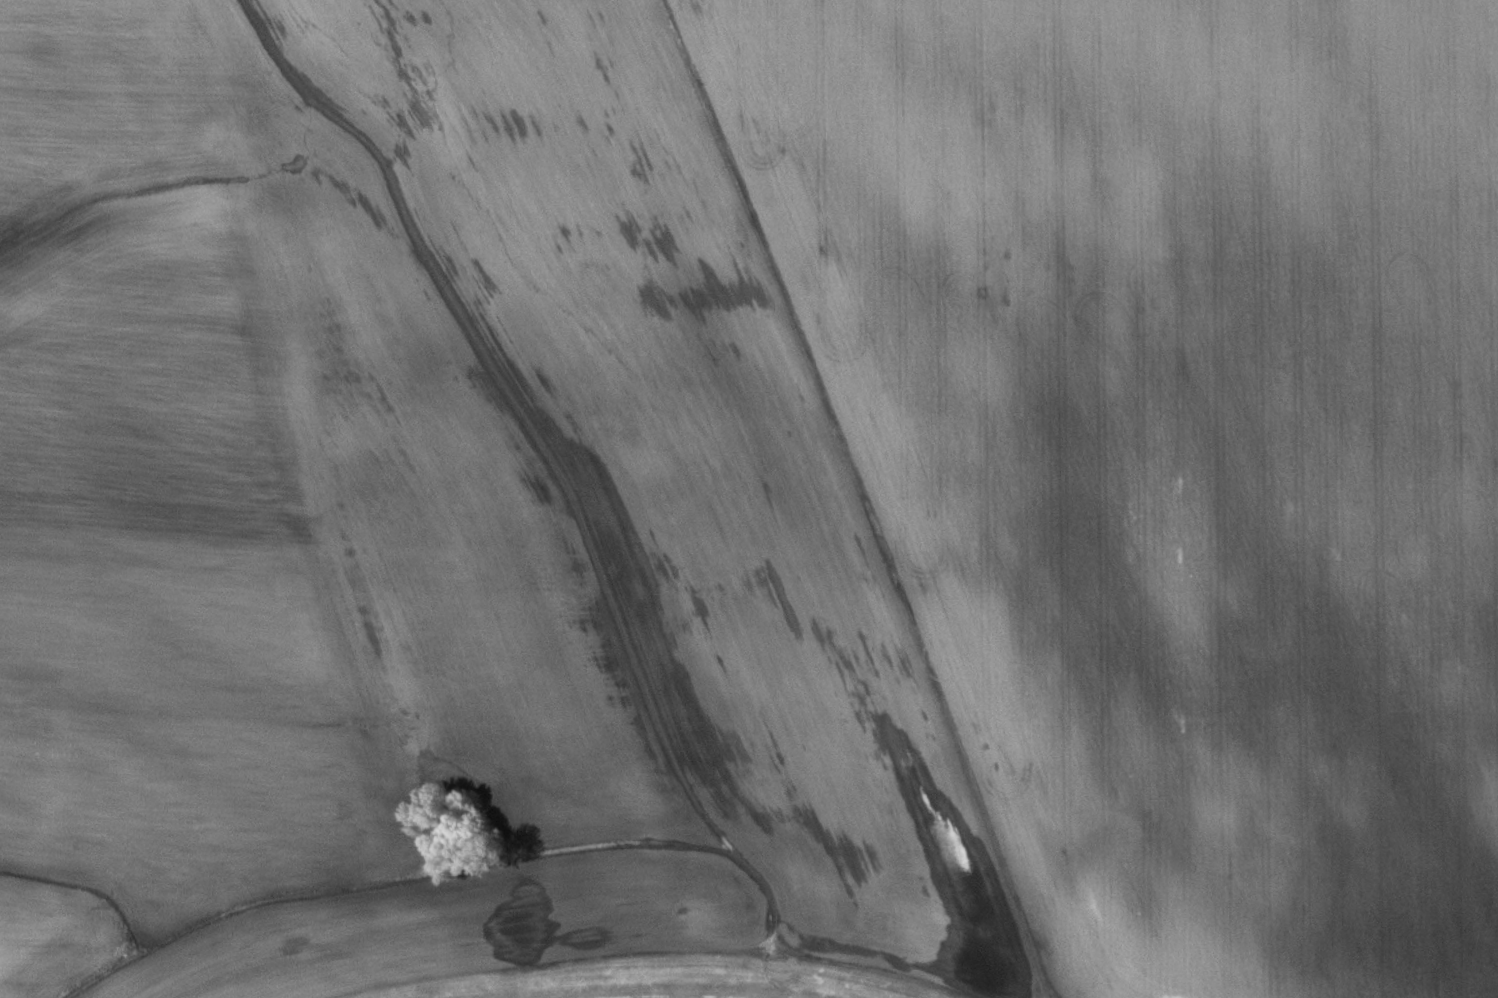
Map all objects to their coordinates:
crop: (379, 187)
crop: (1169, 448)
crop: (442, 546)
crop: (280, 799)
crop: (855, 851)
crop: (460, 926)
crop: (56, 936)

